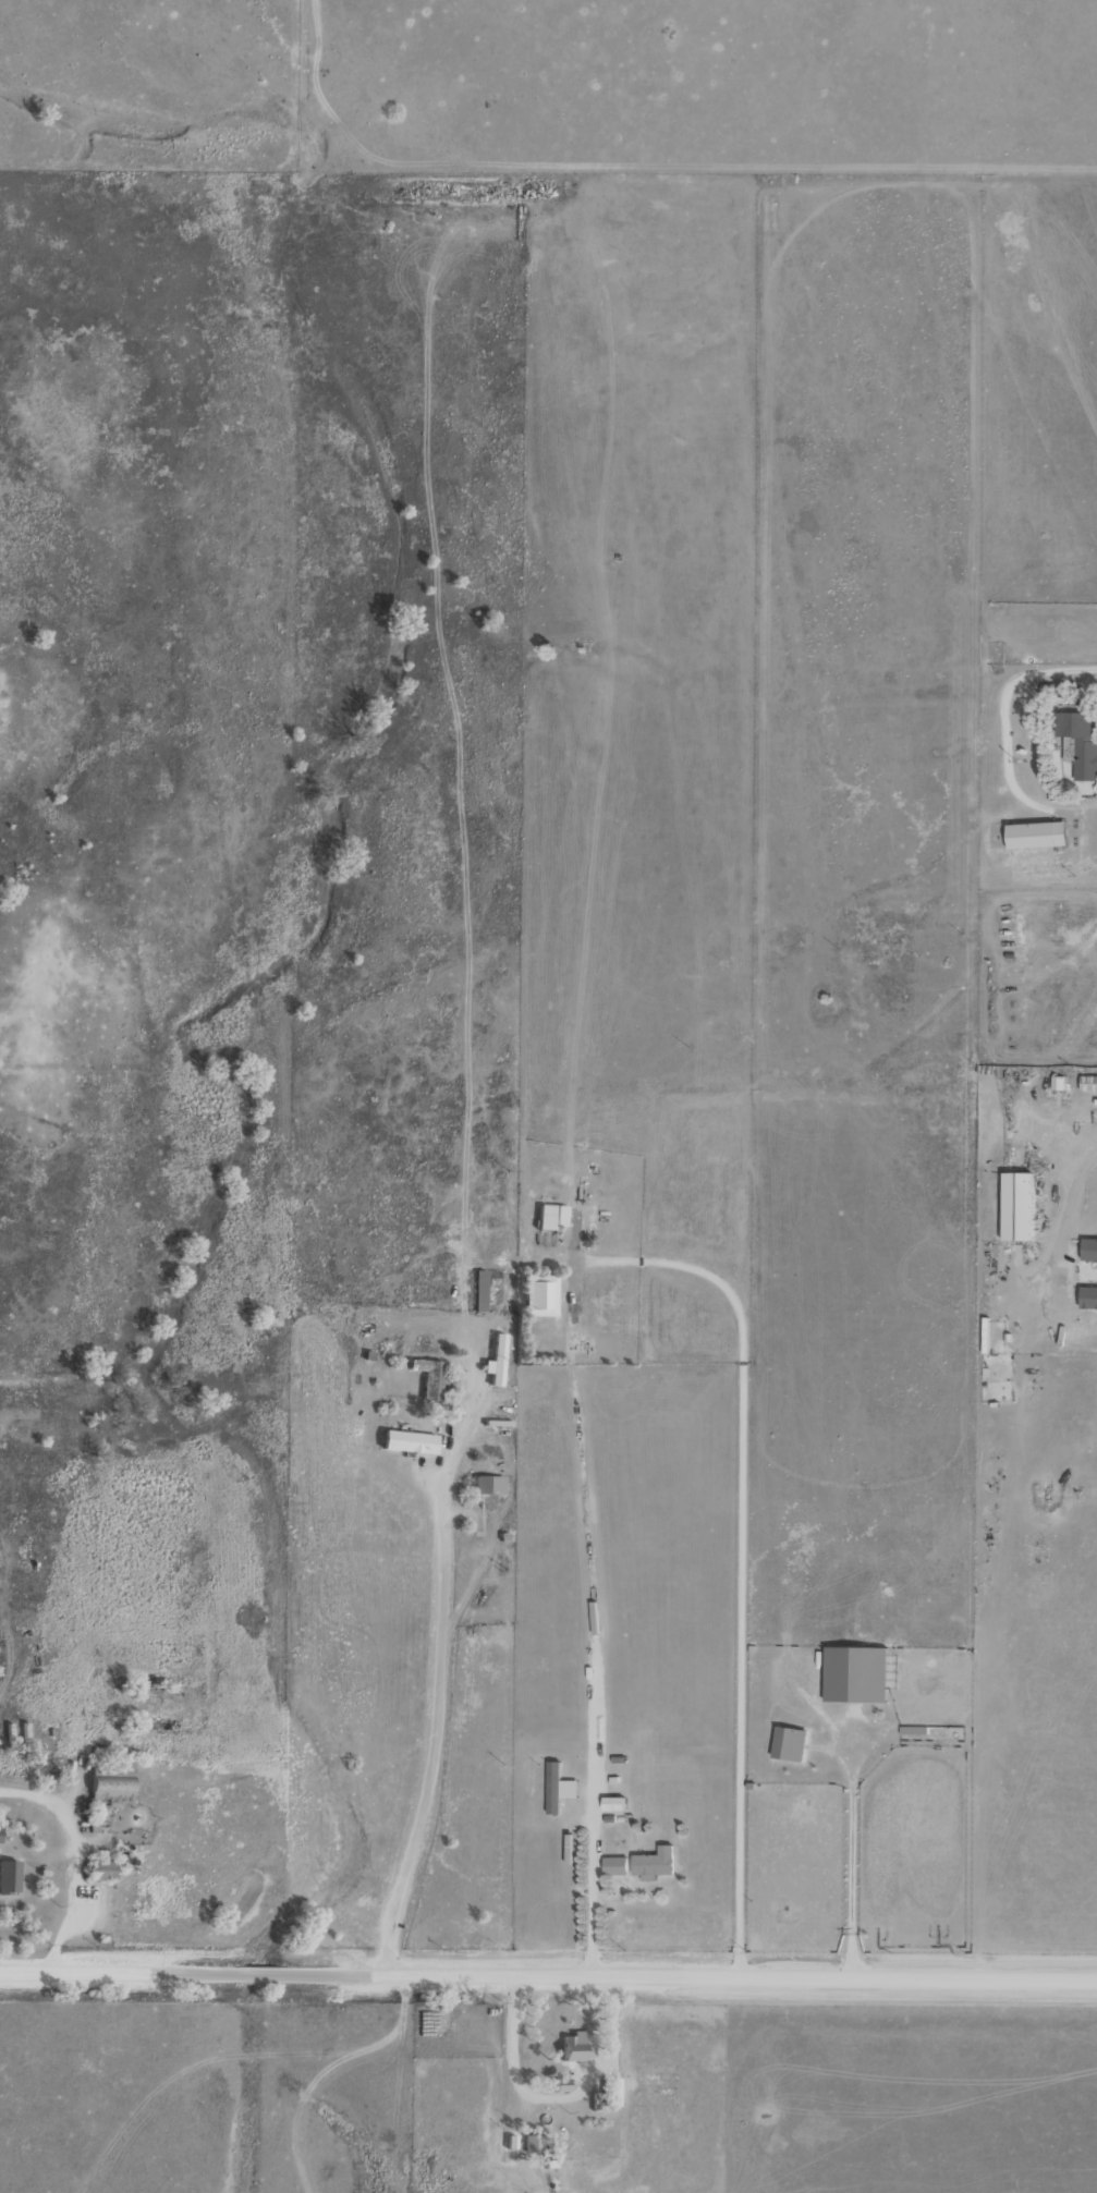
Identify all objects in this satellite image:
building: (1080, 746)
building: (1036, 836)
building: (1088, 1085)
road: (1057, 1138)
building: (1016, 1207)
building: (545, 1218)
building: (478, 1292)
building: (540, 1296)
building: (544, 1331)
building: (497, 1362)
building: (427, 1380)
building: (406, 1445)
building: (488, 1487)
road: (597, 1631)
road: (435, 1685)
building: (108, 1789)
building: (0, 1832)
building: (655, 1864)
building: (615, 1867)
building: (100, 1872)
building: (9, 1878)
road: (548, 1975)
building: (576, 2046)
road: (313, 2086)
building: (560, 2086)
building: (611, 2093)
building: (533, 2144)

